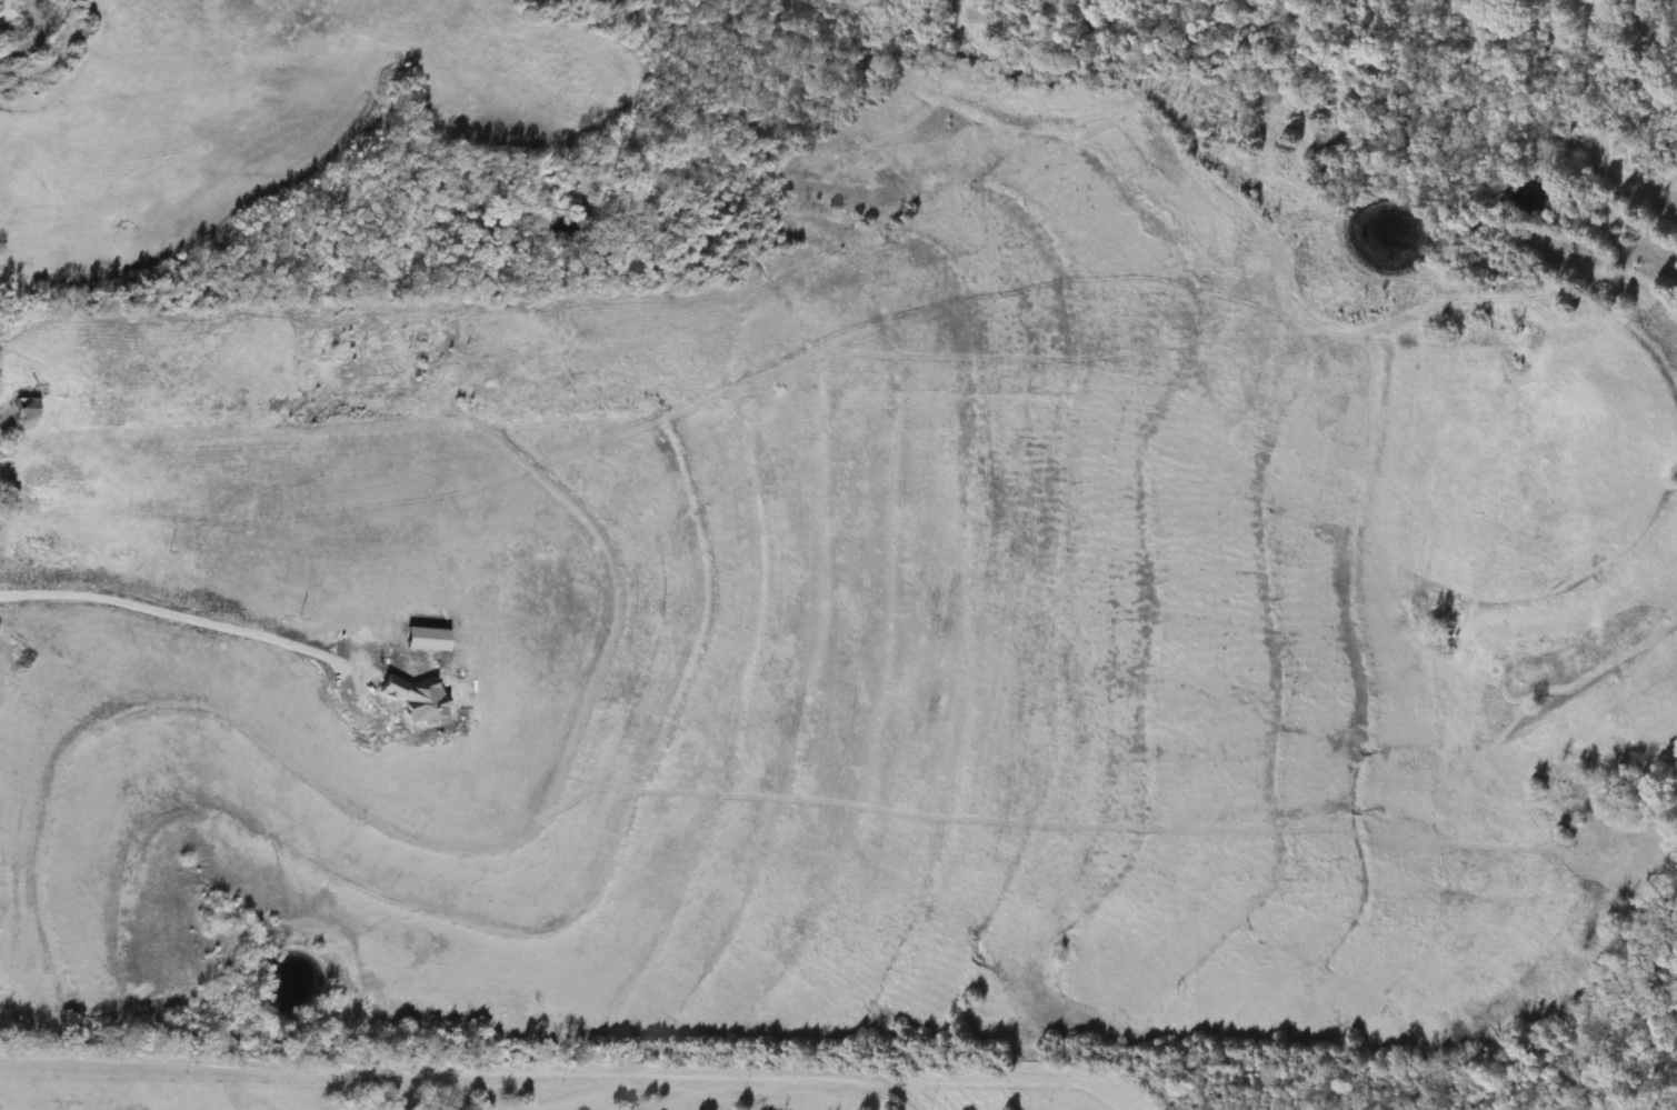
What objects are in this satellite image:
building: (20, 408)
road: (459, 1071)

